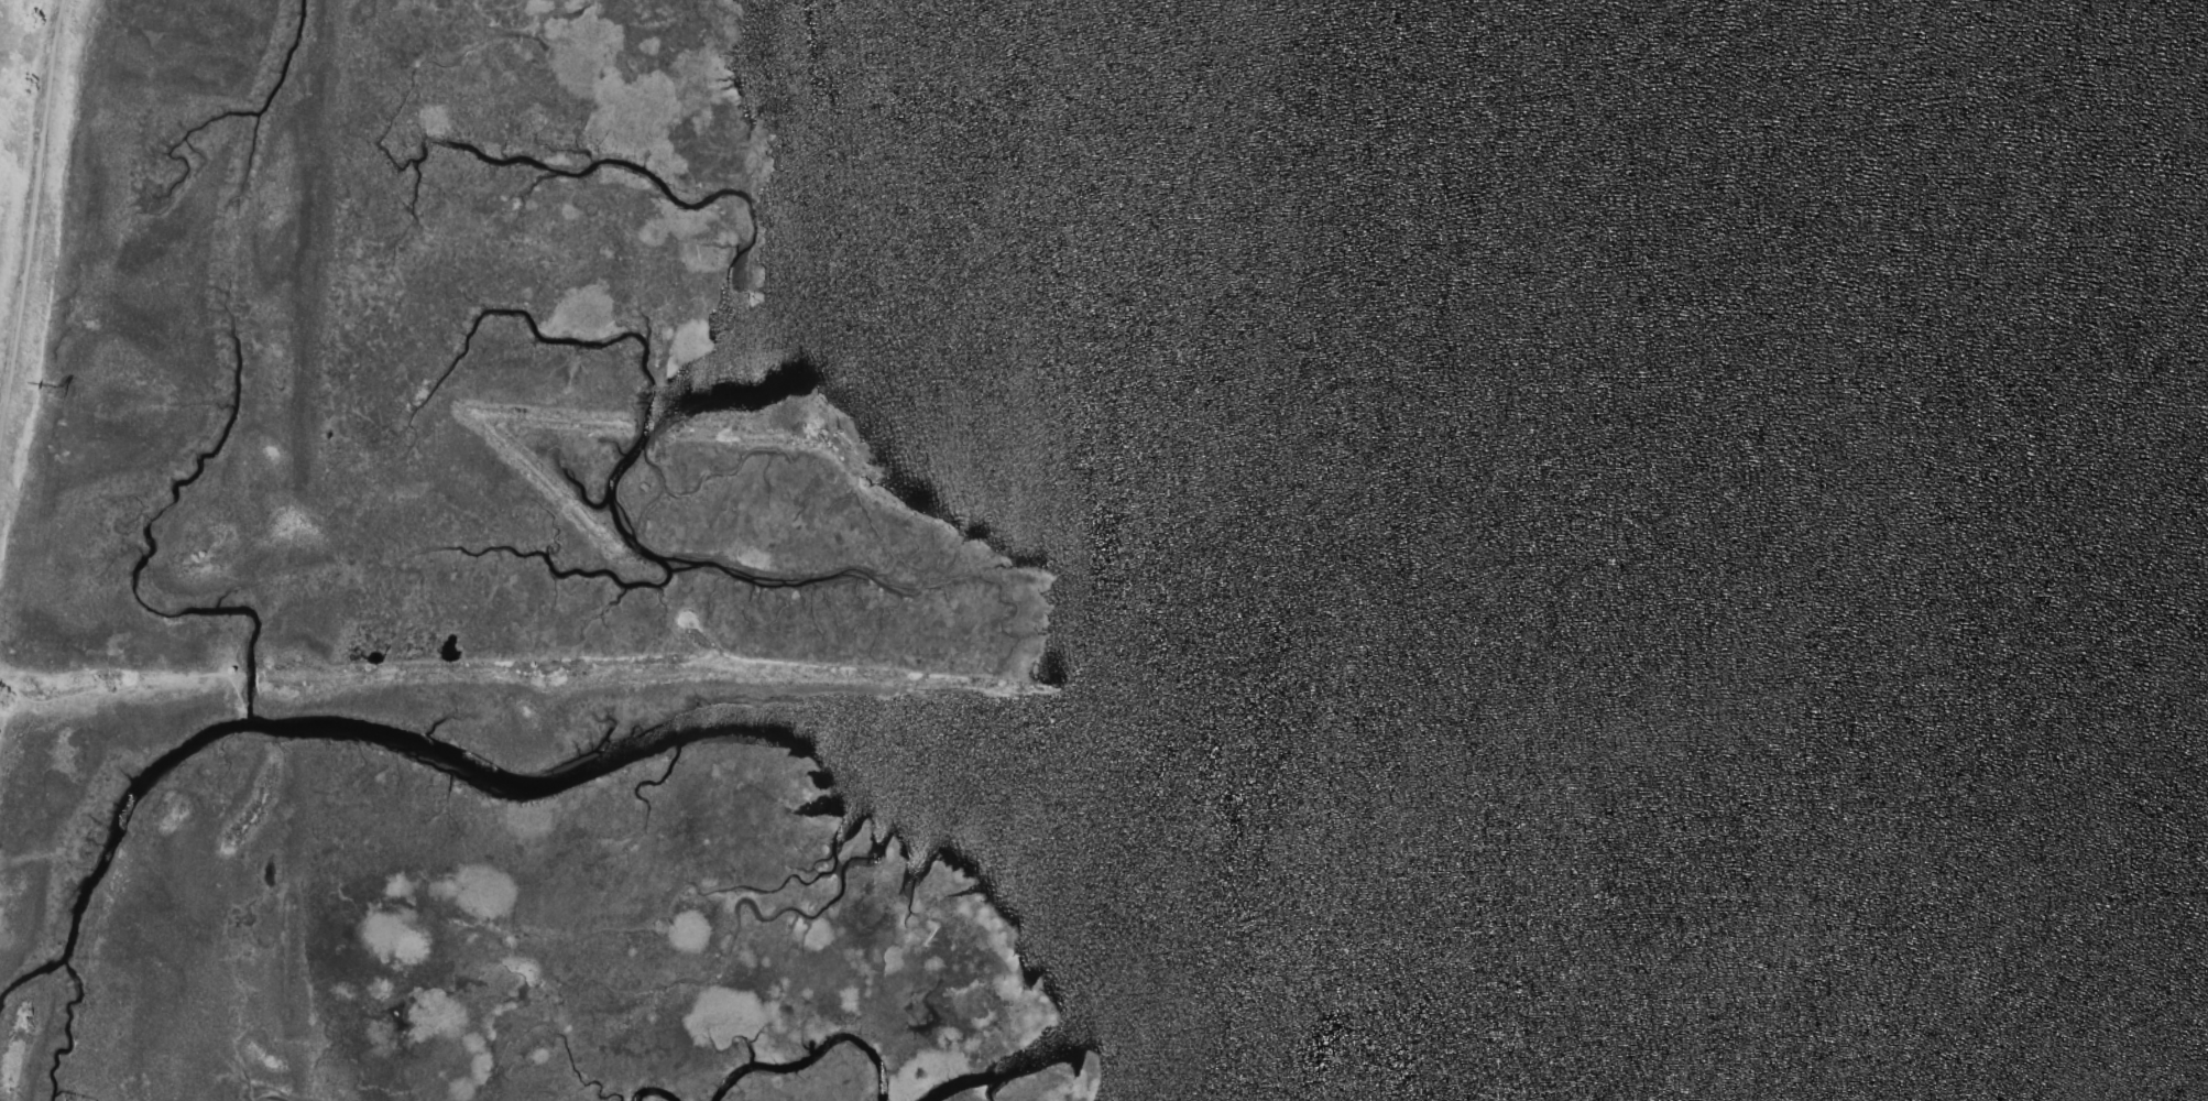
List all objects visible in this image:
road: (33, 216)
power tower: (58, 393)
road: (124, 690)

